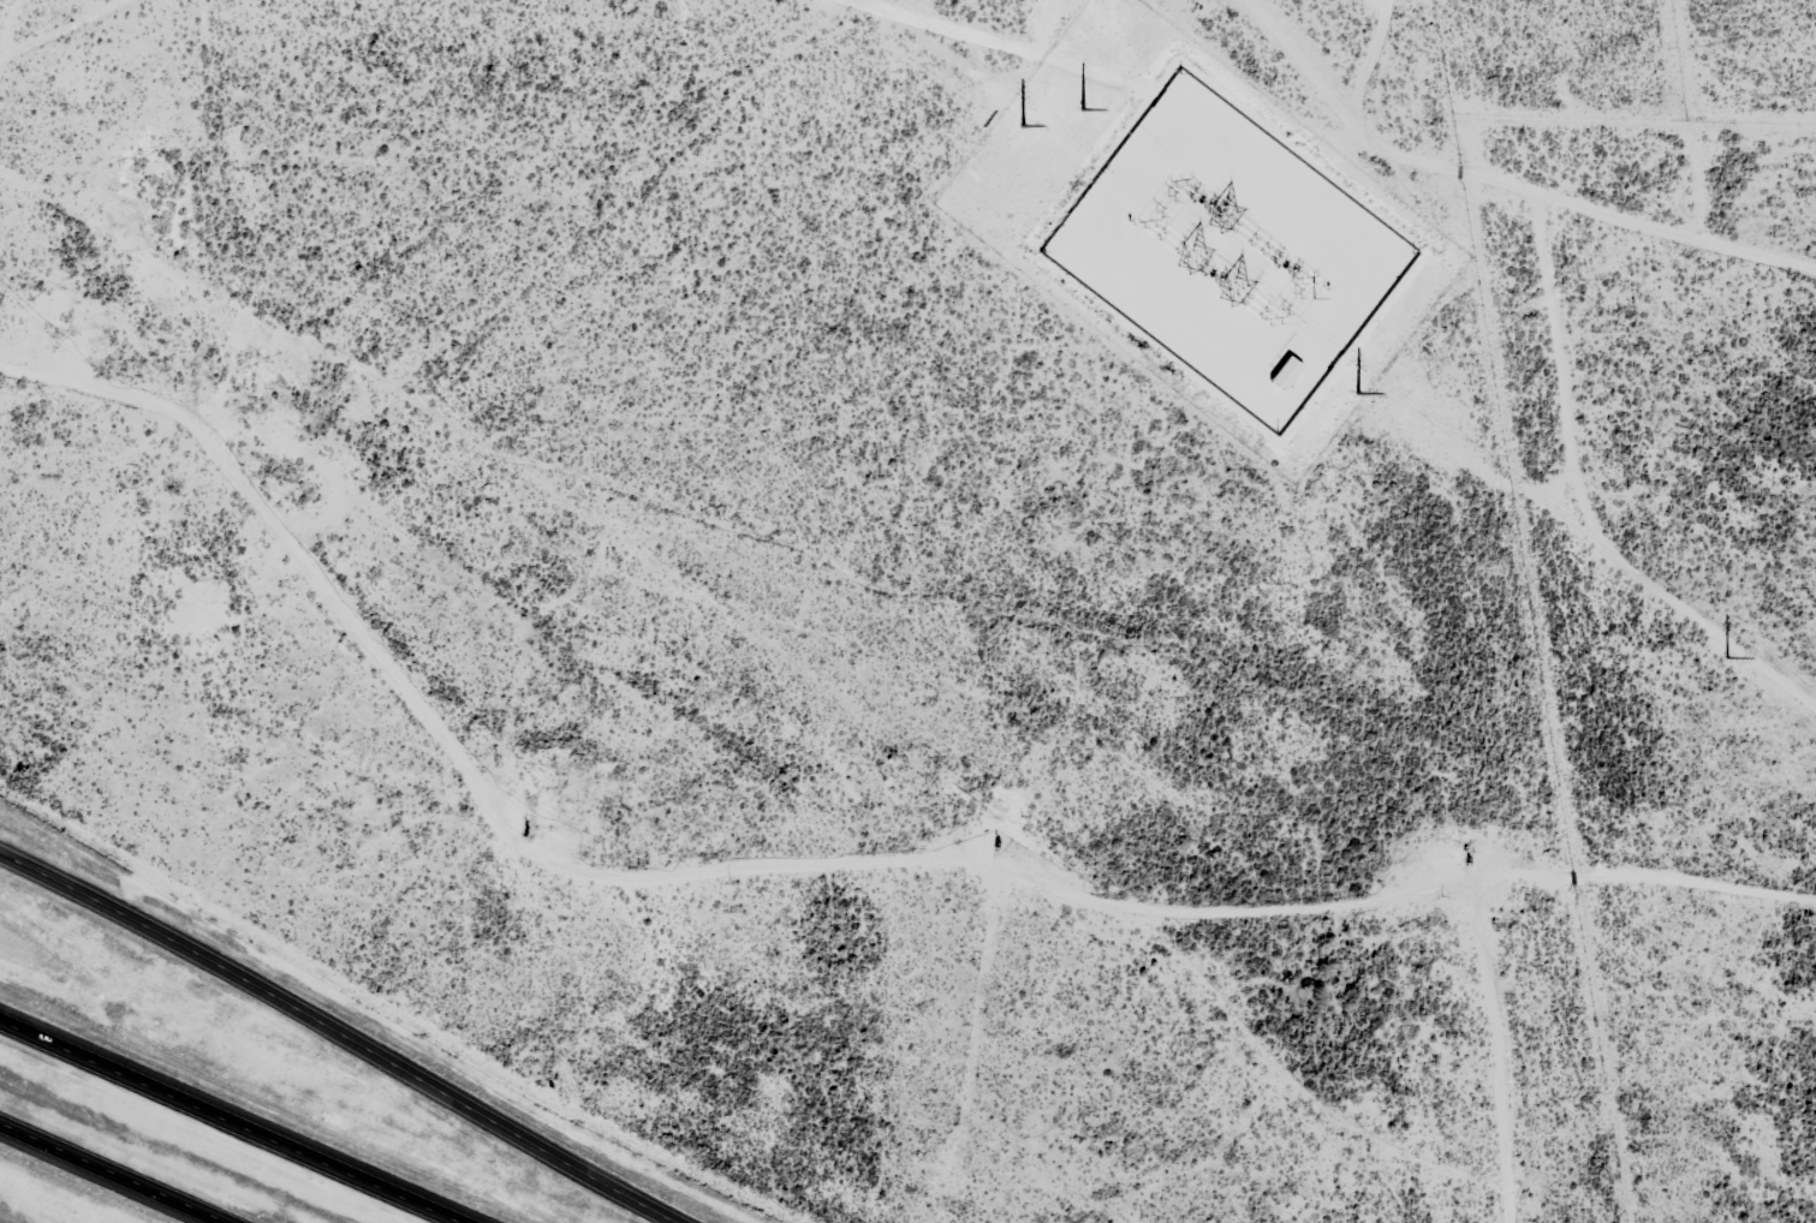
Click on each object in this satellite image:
road: (2, 24)
road: (62, 24)
power tower: (1019, 114)
power tower: (1054, 141)
power tower: (1095, 172)
power tower: (1403, 398)
power tower: (1731, 656)
road: (340, 1037)
road: (249, 1116)
road: (118, 1171)

